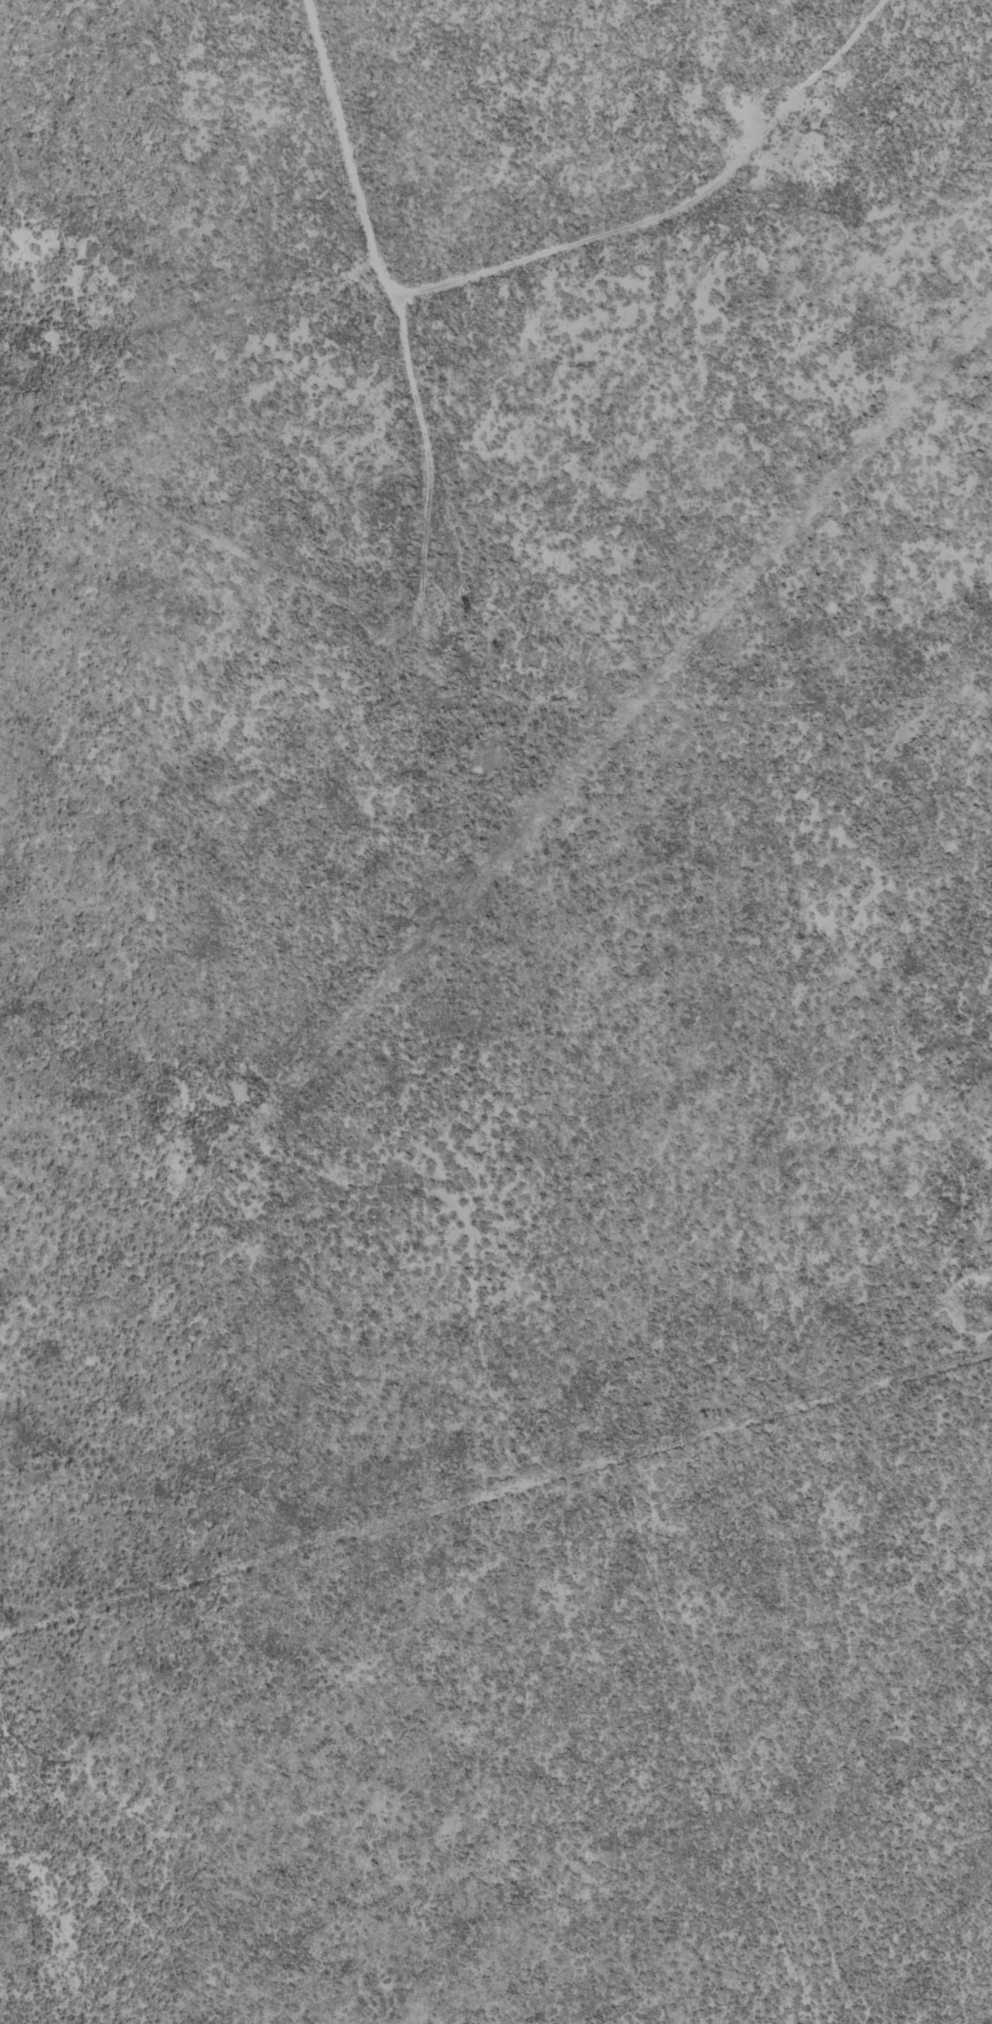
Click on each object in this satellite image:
road: (604, 249)
road: (262, 293)
road: (427, 393)

